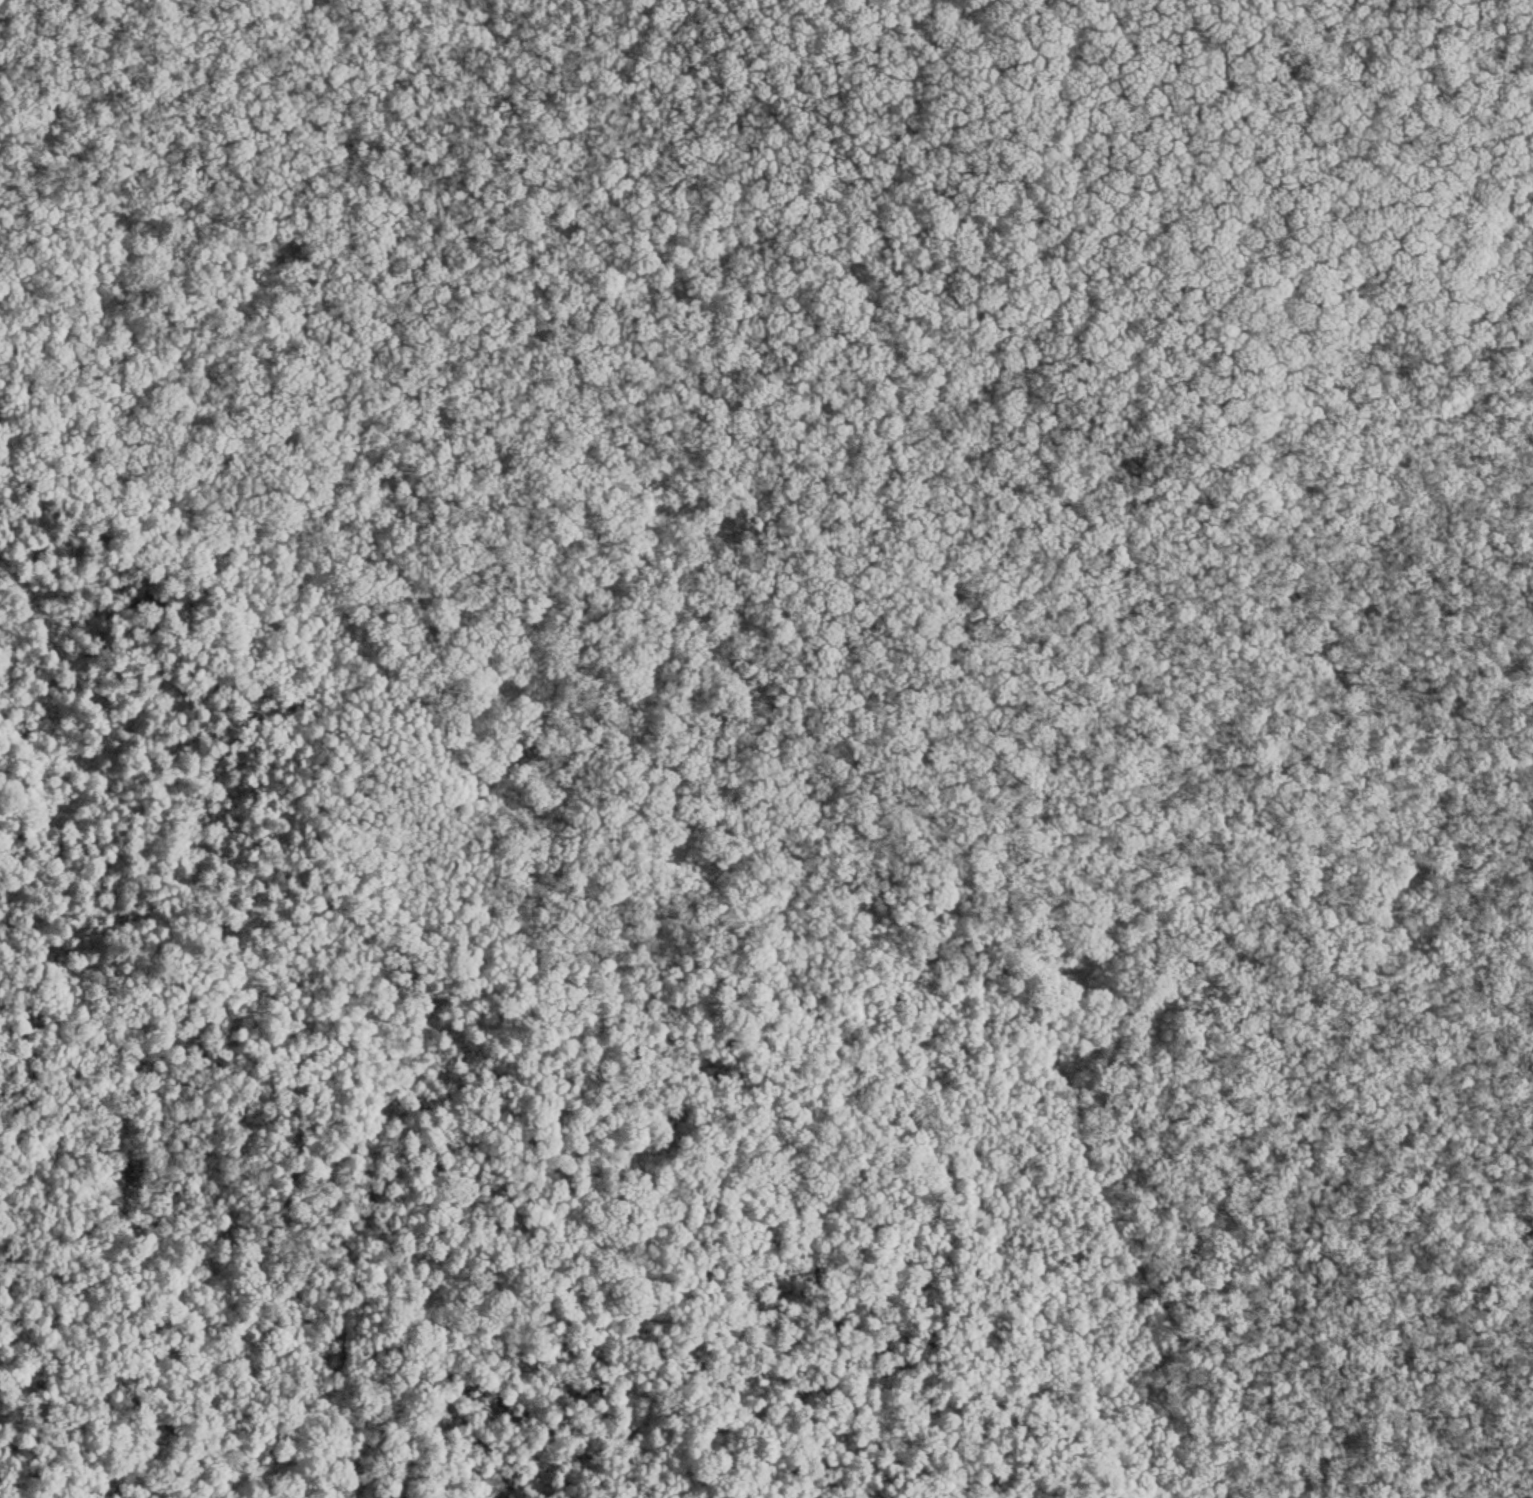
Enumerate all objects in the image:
road: (1342, 693)
road: (1013, 968)
road: (1119, 1234)

